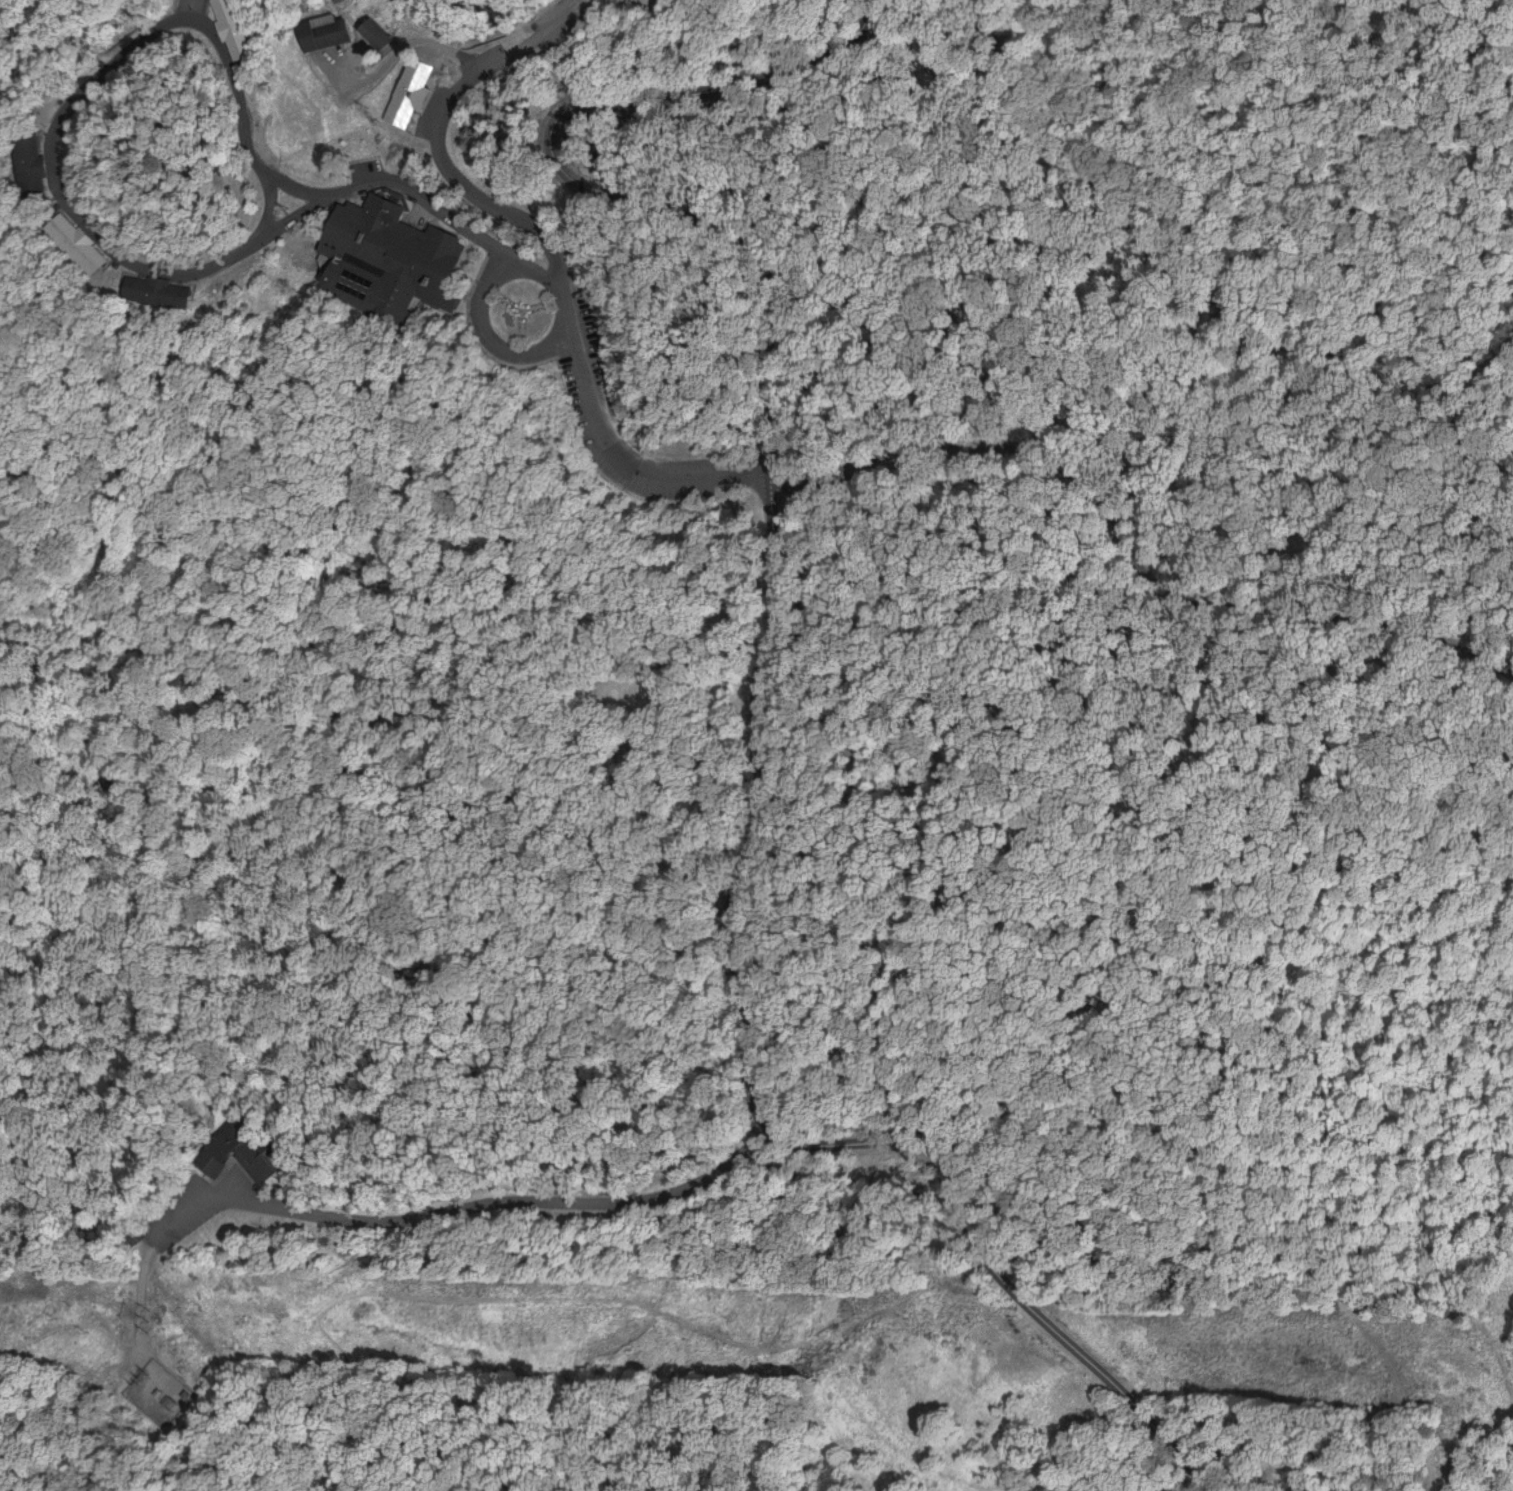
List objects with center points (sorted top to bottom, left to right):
building: (242, 31)
building: (379, 34)
building: (330, 36)
road: (406, 41)
road: (136, 51)
building: (415, 93)
road: (442, 131)
building: (29, 160)
road: (580, 173)
road: (271, 209)
building: (76, 244)
building: (409, 267)
road: (527, 269)
building: (157, 292)
road: (1025, 455)
road: (940, 651)
road: (736, 874)
road: (1160, 965)
building: (237, 1156)
road: (381, 1214)
road: (329, 1304)
road: (1049, 1323)

